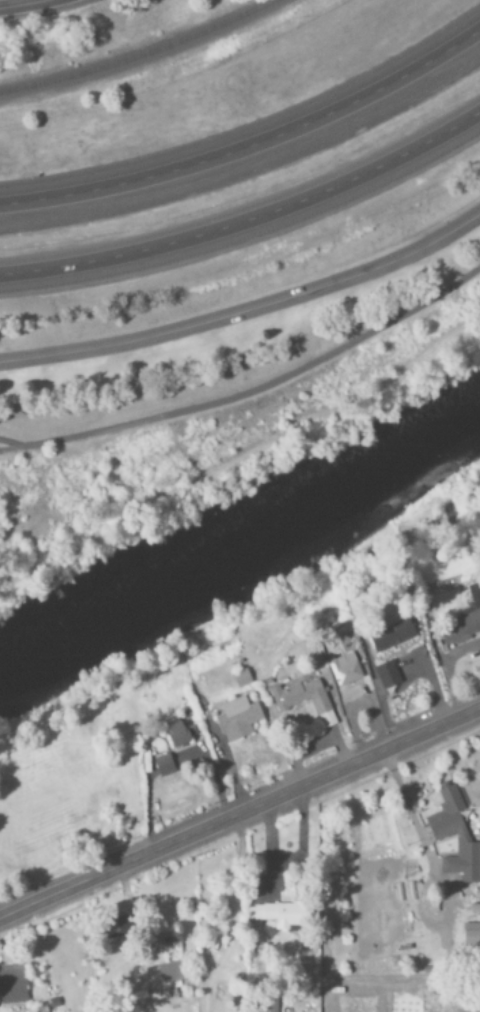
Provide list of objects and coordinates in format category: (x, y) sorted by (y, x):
road: (22, 4)
railway: (153, 63)
road: (250, 148)
road: (249, 223)
road: (247, 313)
road: (252, 391)
road: (9, 443)
road: (246, 456)
river: (238, 530)
building: (465, 620)
building: (391, 635)
building: (345, 670)
building: (387, 675)
building: (241, 679)
building: (304, 700)
building: (238, 719)
building: (163, 766)
road: (239, 813)
building: (445, 824)
building: (464, 863)
building: (280, 914)
building: (116, 929)
building: (471, 935)
building: (170, 979)
building: (12, 985)

